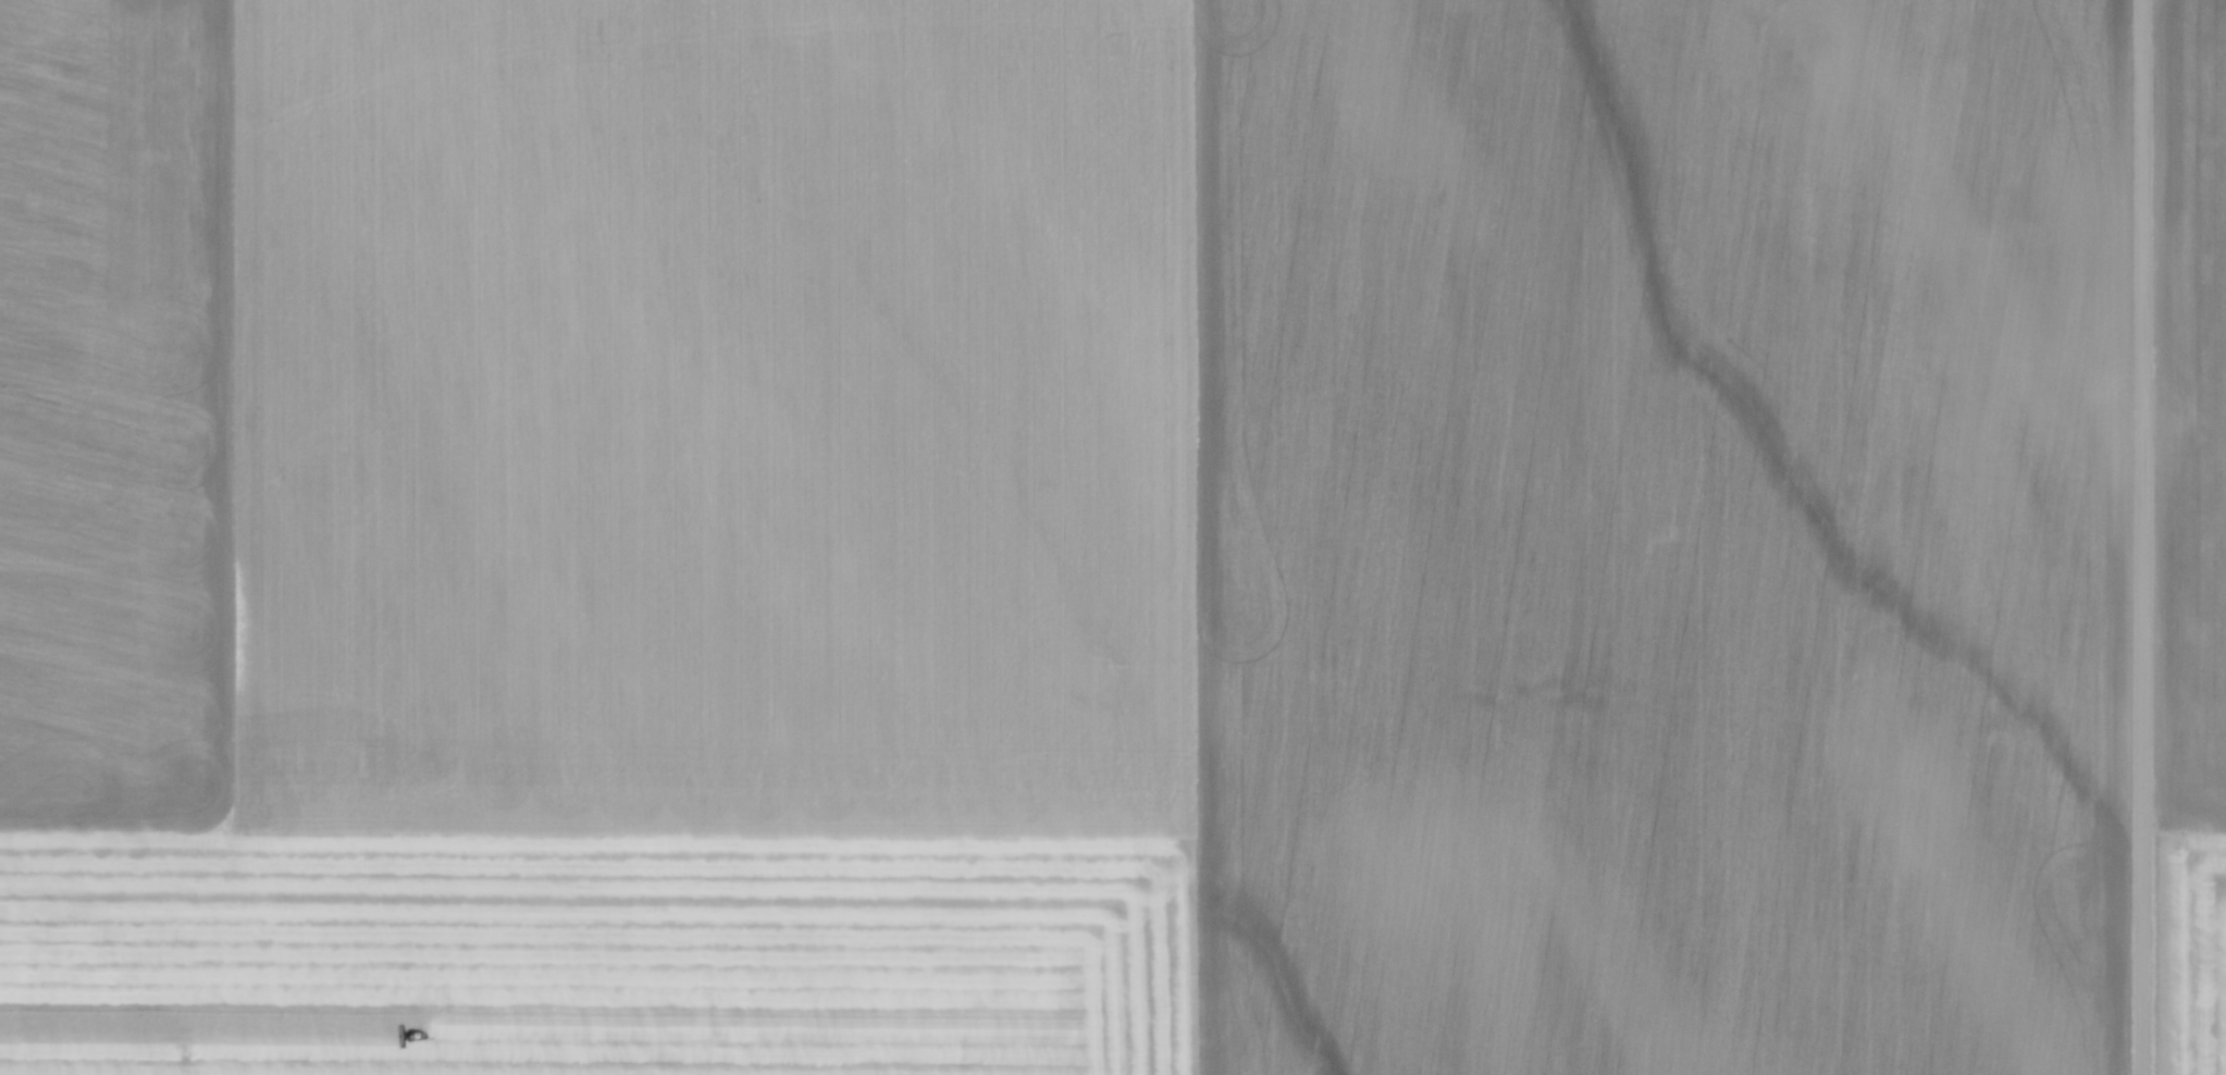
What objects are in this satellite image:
crop: (1062, 536)
road: (2147, 537)
crop: (2192, 542)

